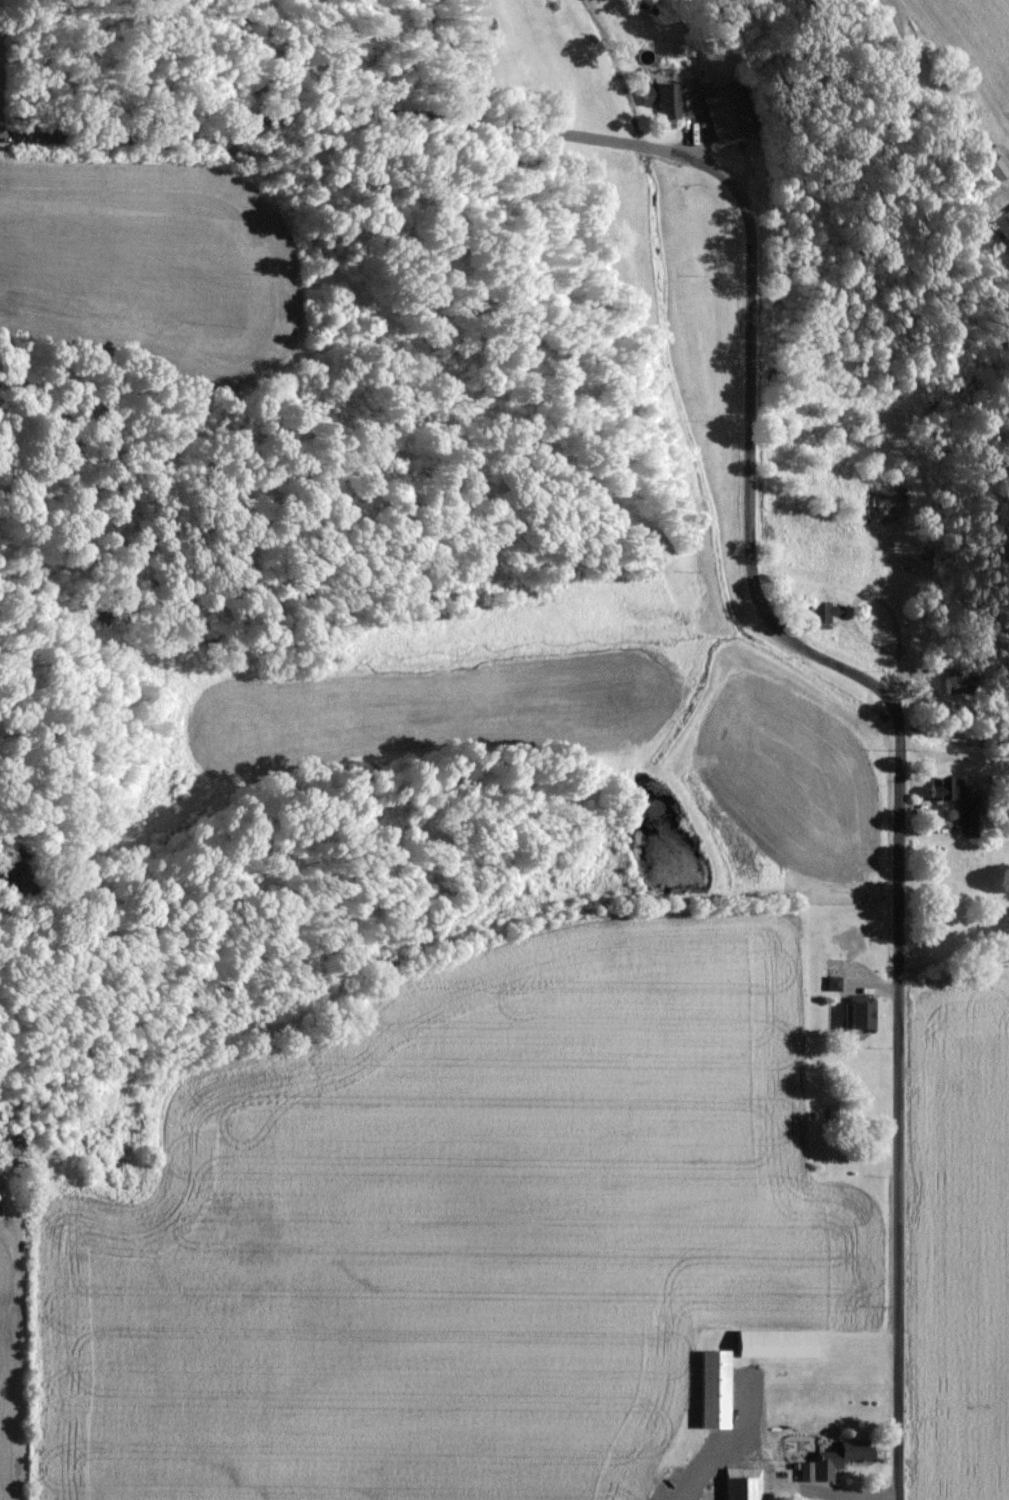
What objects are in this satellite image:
road: (958, 71)
building: (667, 97)
building: (725, 113)
building: (999, 167)
building: (1003, 224)
building: (891, 504)
road: (743, 505)
building: (825, 611)
building: (953, 684)
road: (932, 689)
building: (946, 787)
building: (965, 816)
road: (874, 983)
building: (859, 1012)
road: (18, 1341)
building: (778, 1343)
building: (715, 1388)
road: (750, 1456)
building: (833, 1460)
building: (743, 1483)

